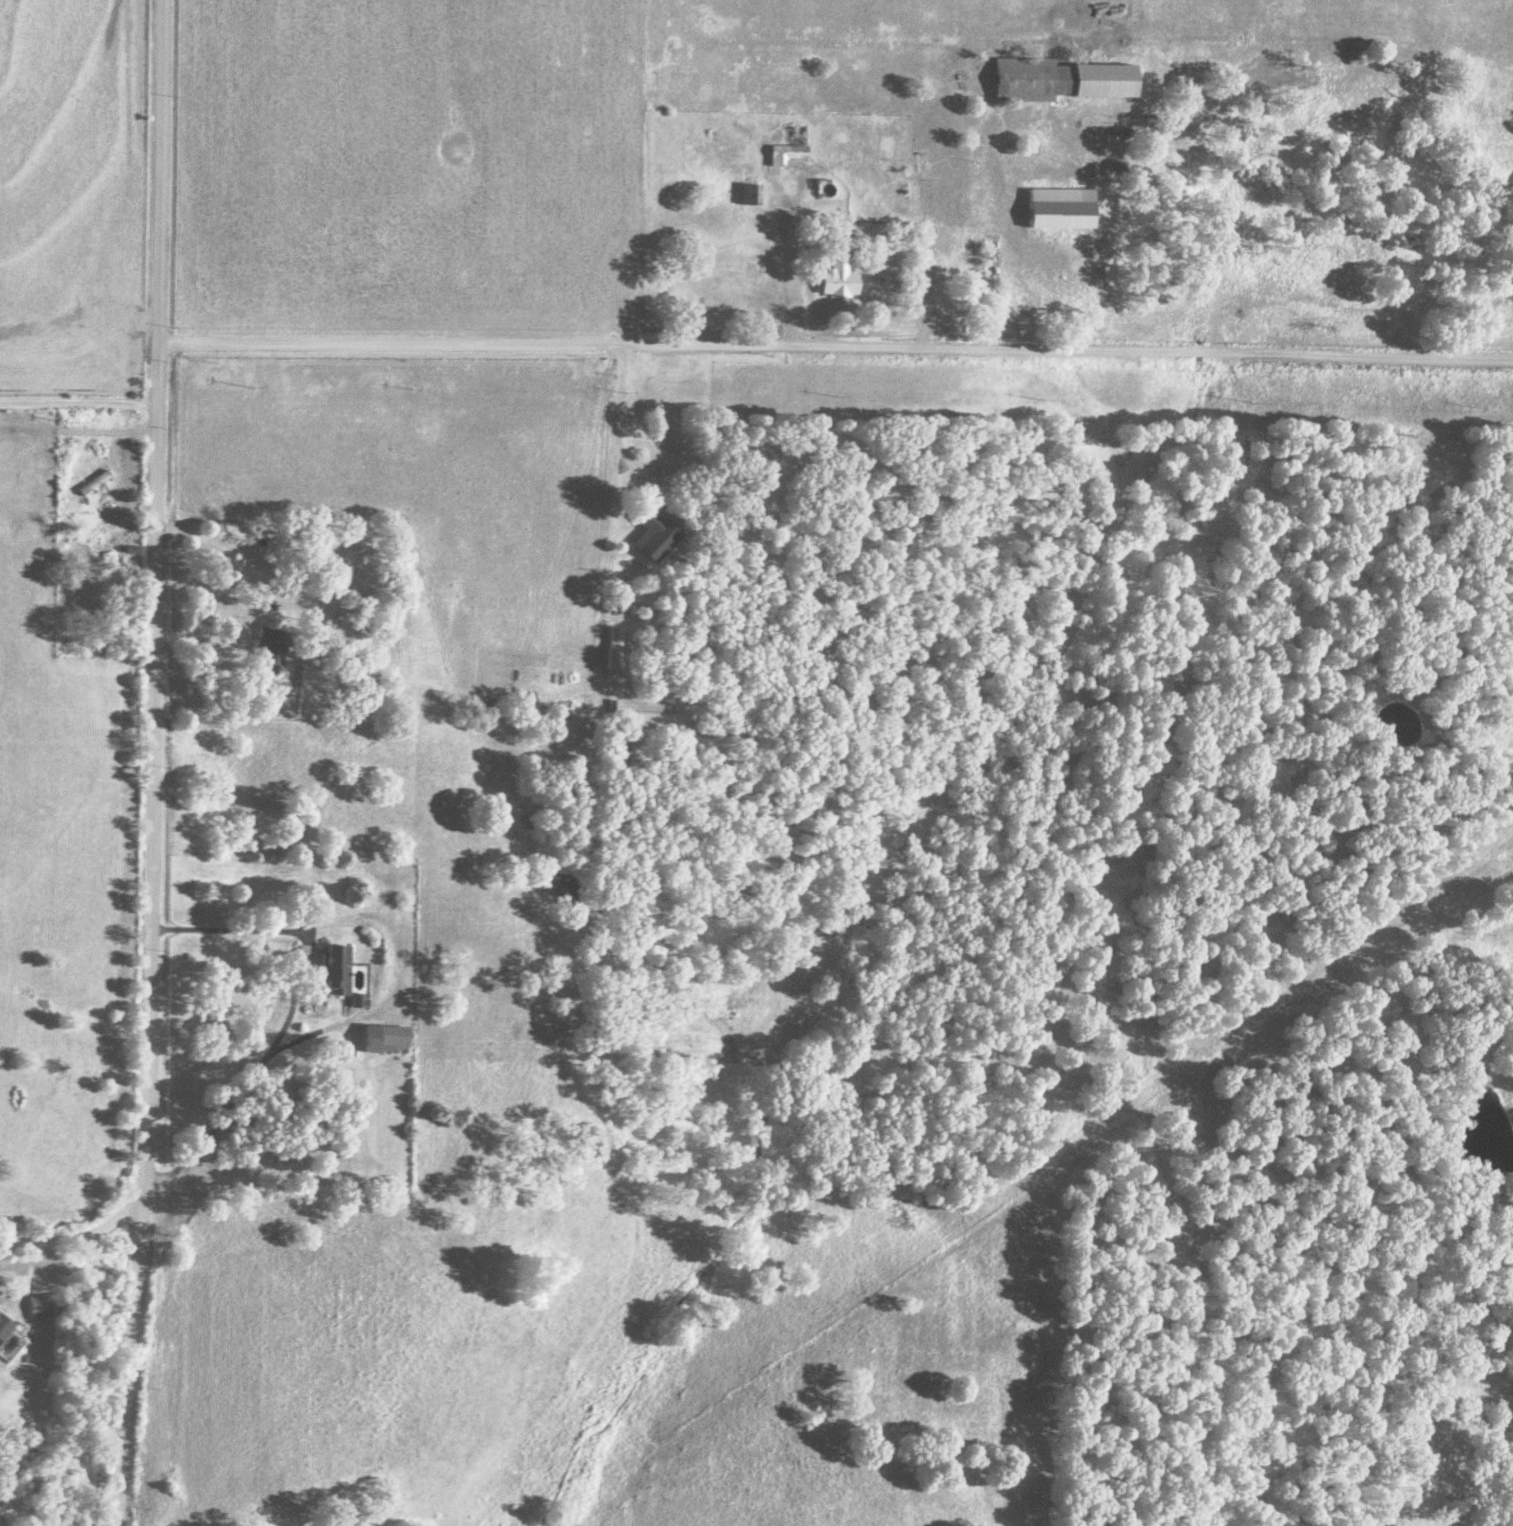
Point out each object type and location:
building: (1060, 81)
building: (786, 155)
road: (836, 170)
building: (750, 196)
building: (1061, 210)
road: (921, 221)
building: (839, 282)
road: (834, 350)
road: (613, 400)
road: (77, 406)
building: (74, 492)
road: (635, 521)
building: (650, 534)
road: (152, 601)
road: (271, 609)
building: (615, 641)
building: (270, 648)
building: (616, 759)
road: (223, 931)
building: (337, 971)
building: (387, 1040)
road: (74, 1241)
building: (46, 1306)
building: (5, 1327)
road: (124, 1364)

